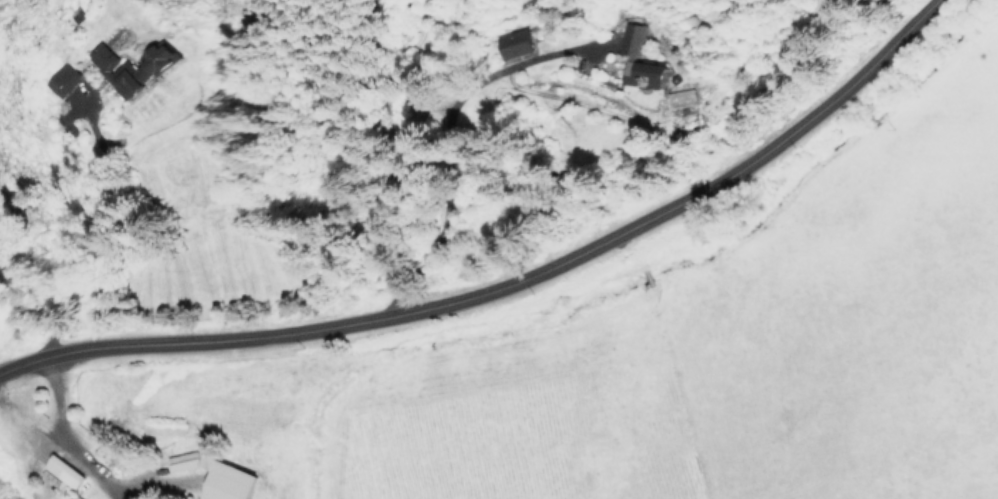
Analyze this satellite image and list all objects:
building: (630, 39)
building: (512, 43)
building: (132, 68)
building: (642, 73)
building: (62, 79)
road: (504, 283)
crop: (742, 348)
road: (46, 431)
road: (69, 431)
road: (23, 442)
road: (146, 478)

